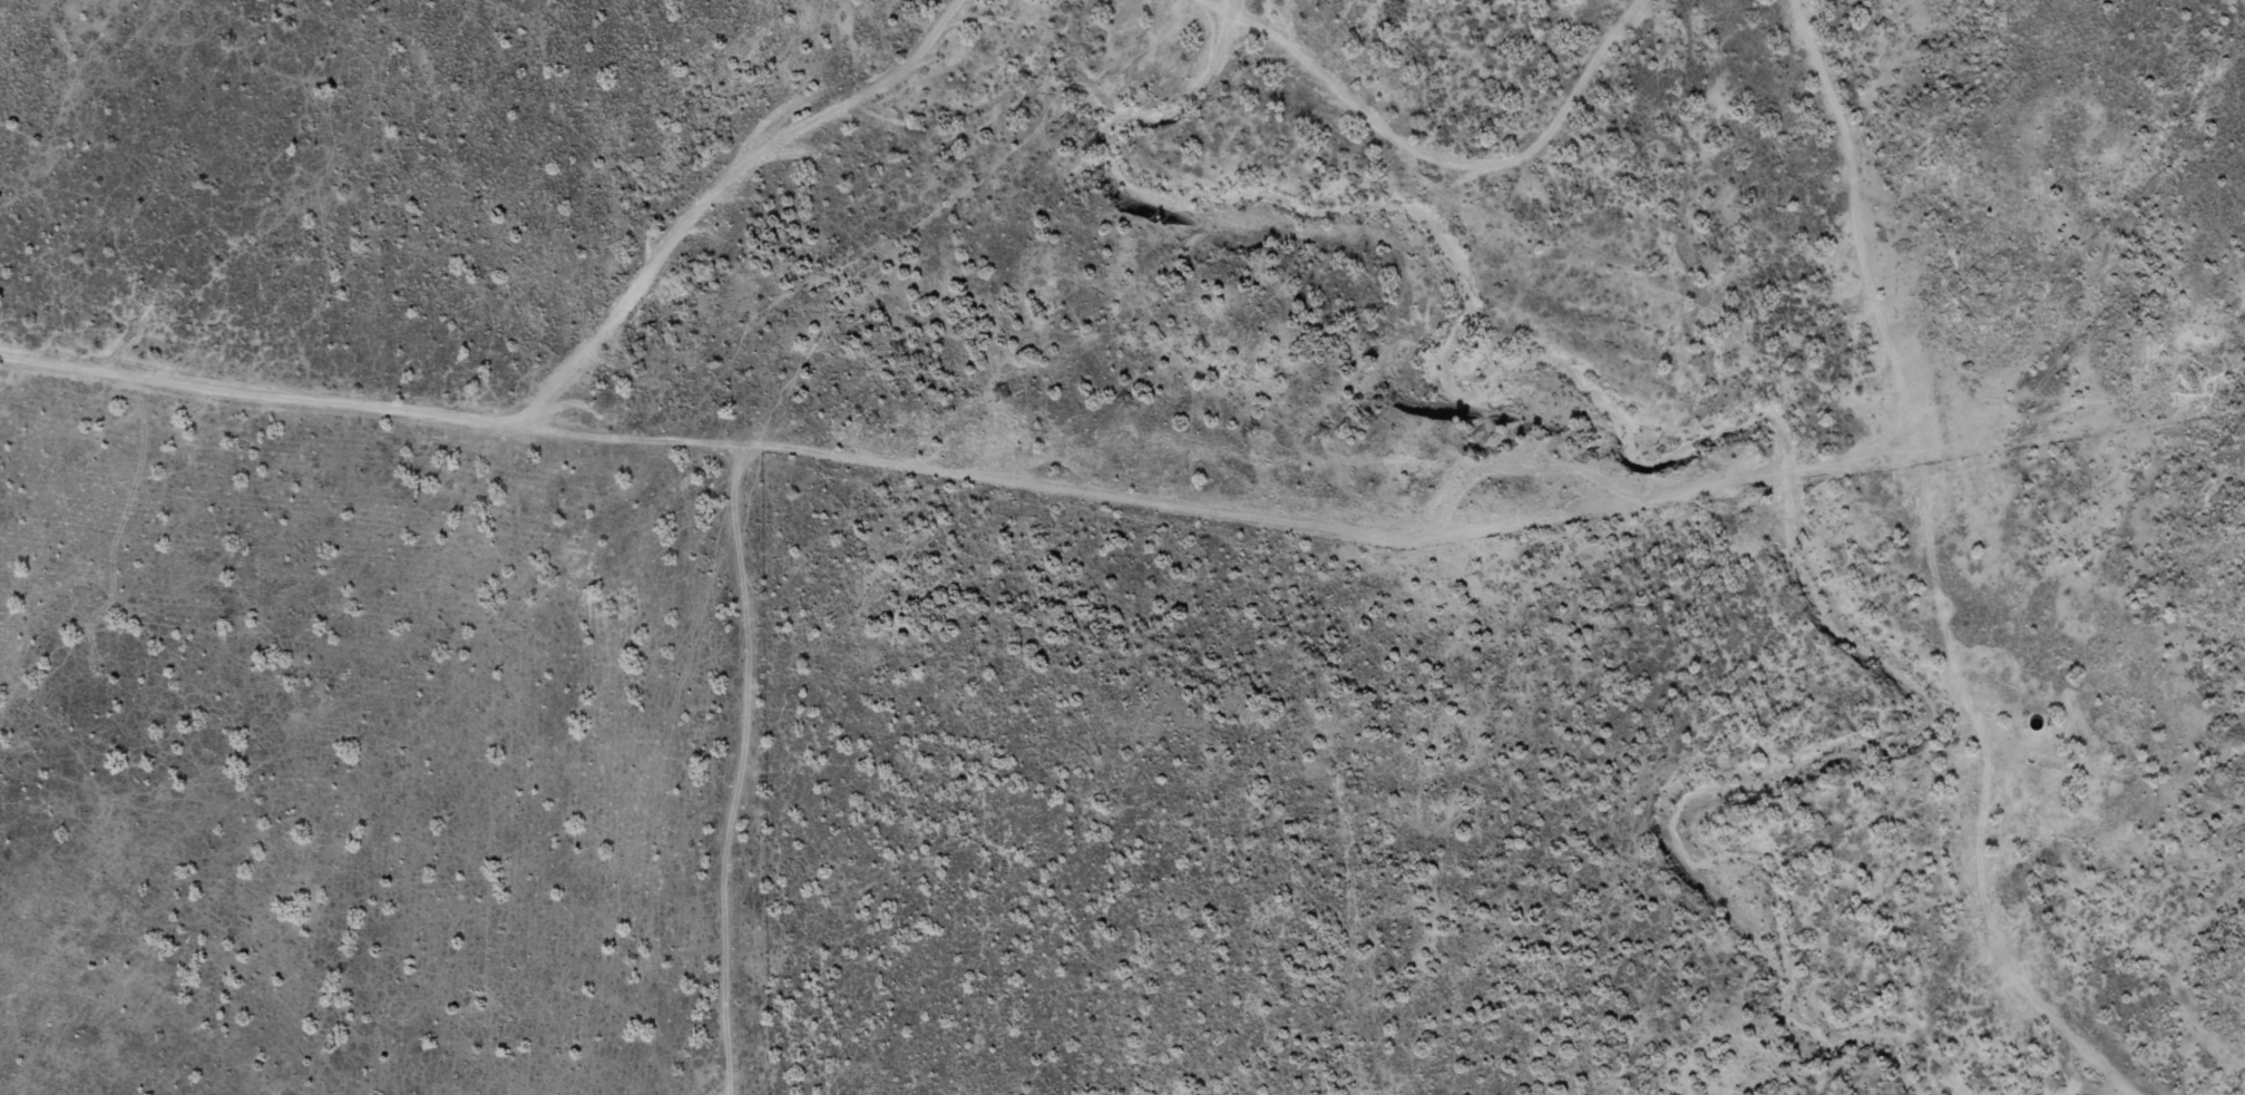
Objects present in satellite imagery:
road: (1876, 339)

